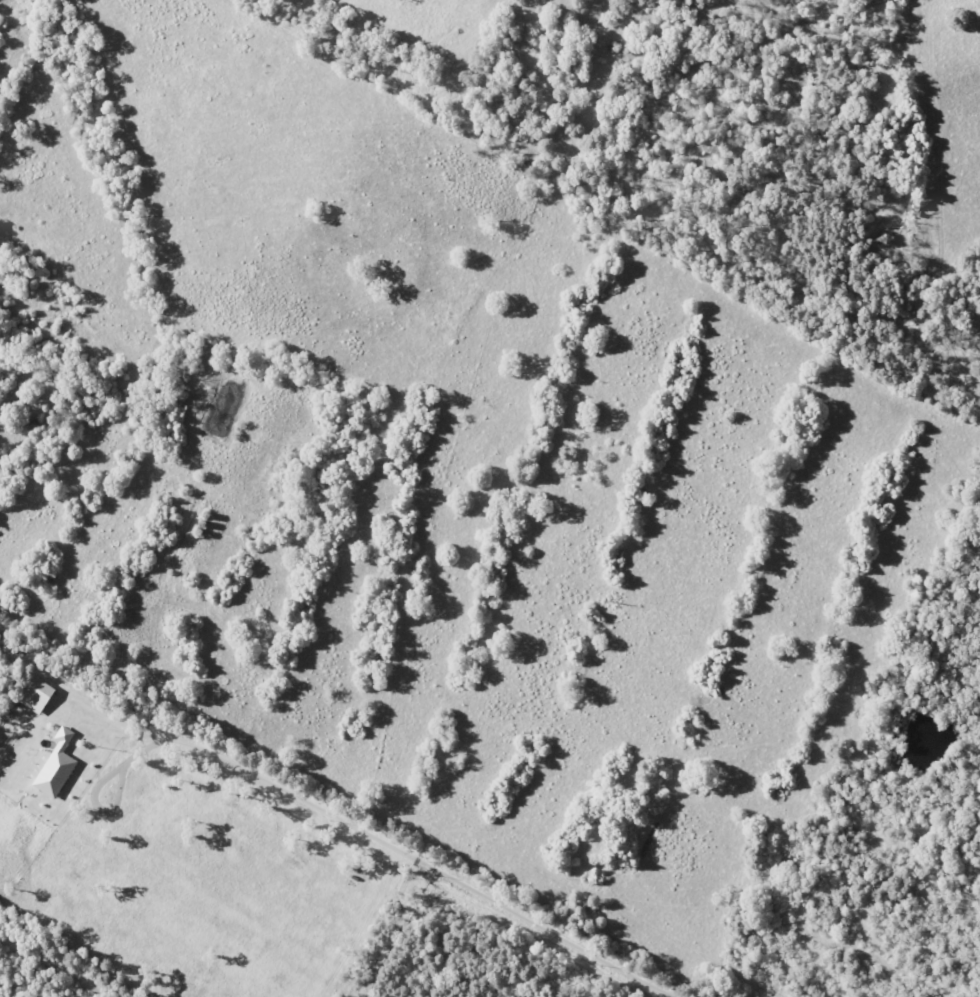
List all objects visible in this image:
building: (39, 695)
building: (58, 766)
road: (377, 836)

